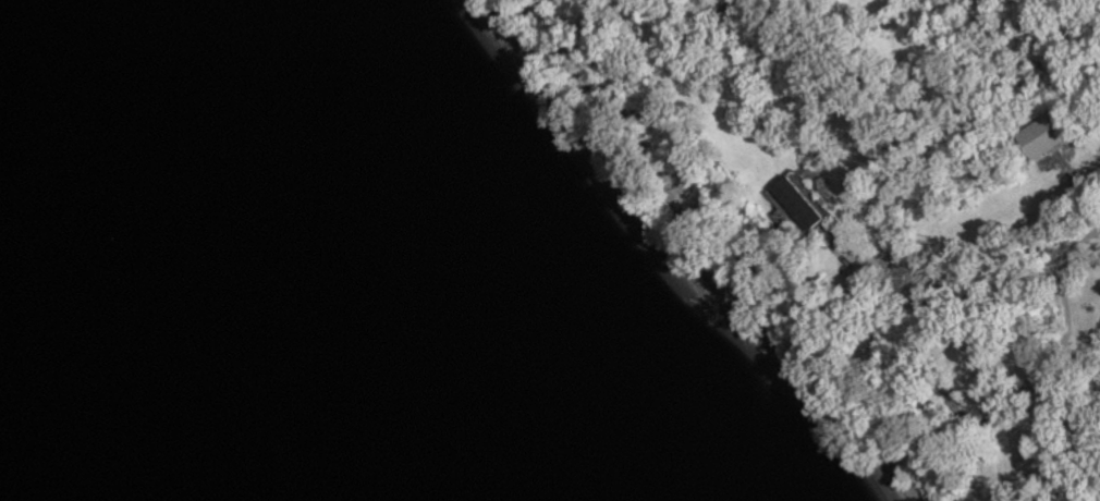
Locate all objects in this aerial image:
building: (1042, 136)
building: (799, 204)
road: (968, 245)

